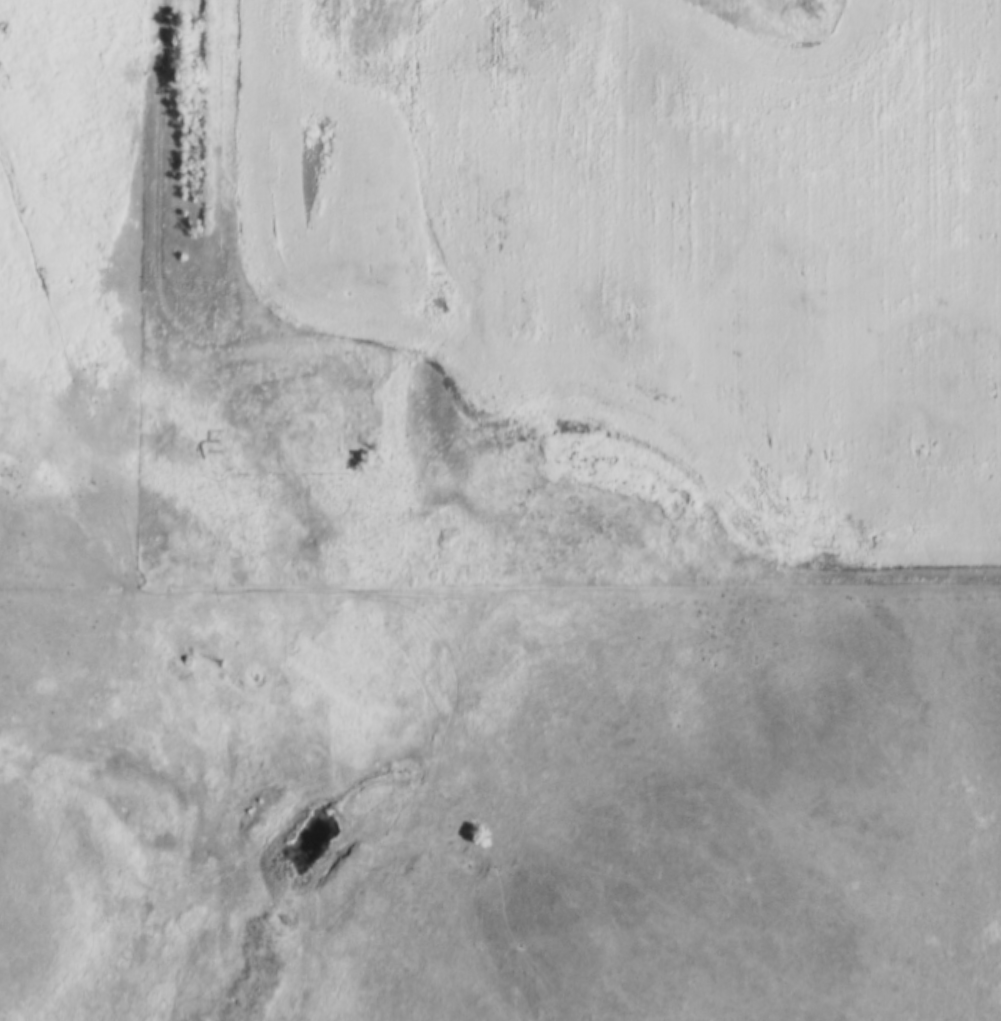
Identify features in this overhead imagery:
road: (420, 294)

